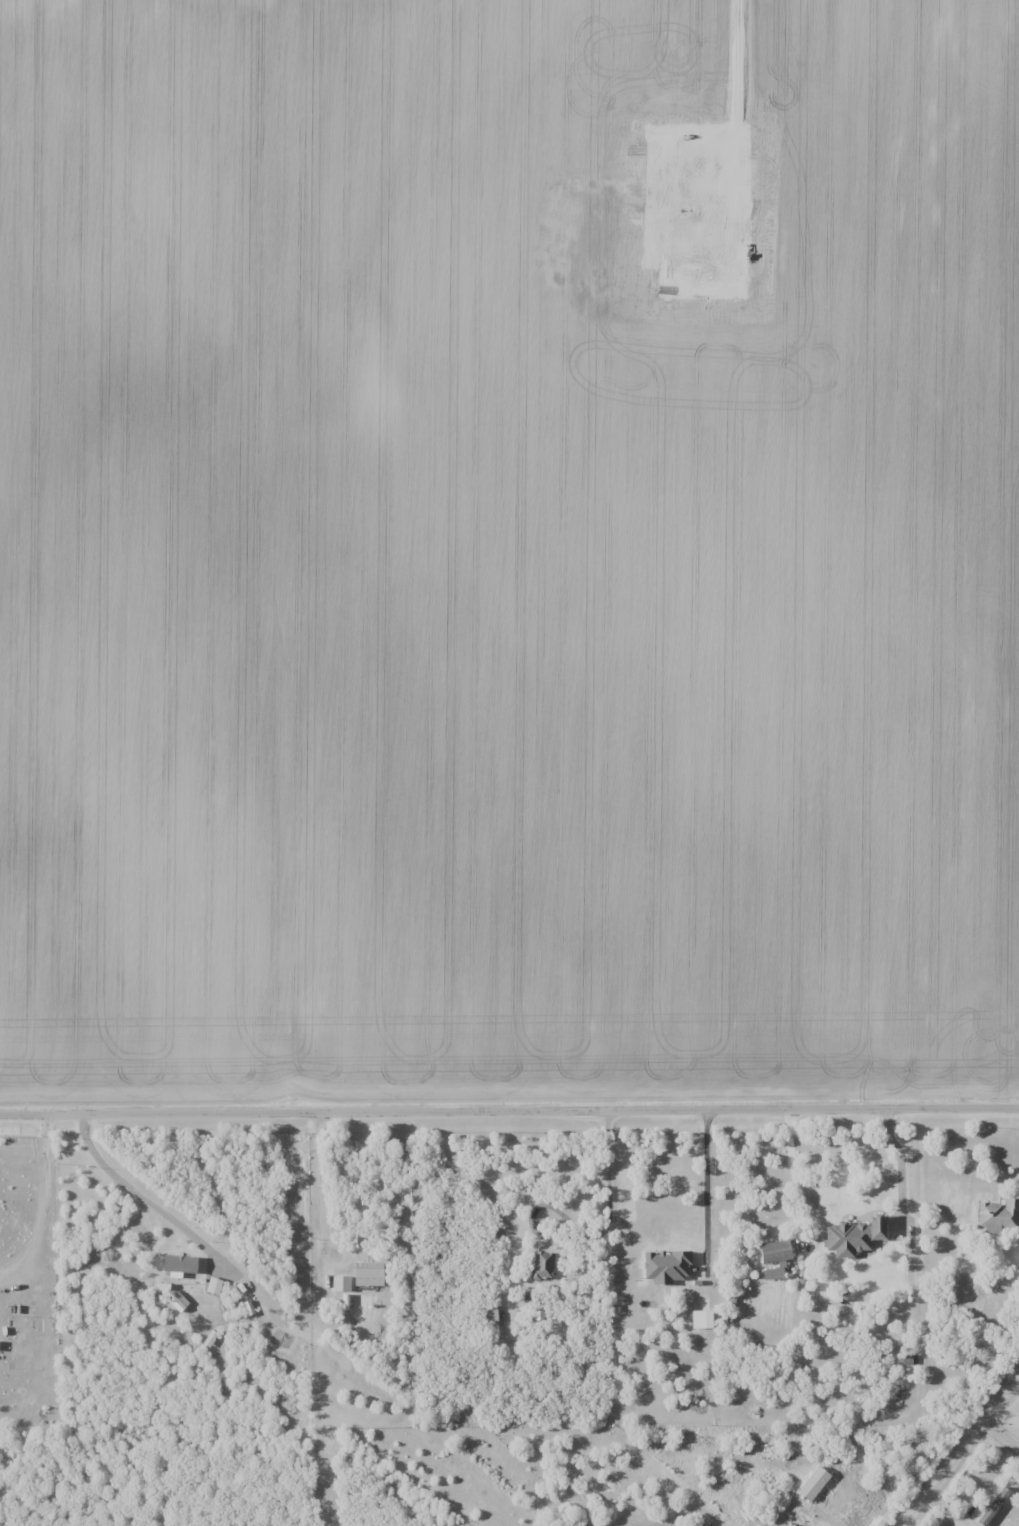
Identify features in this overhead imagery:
road: (509, 1109)
road: (899, 1162)
road: (793, 1176)
road: (705, 1177)
road: (321, 1186)
building: (999, 1216)
road: (589, 1234)
building: (857, 1236)
building: (544, 1265)
building: (775, 1273)
building: (370, 1274)
building: (488, 1313)
road: (1003, 1437)
road: (965, 1453)
building: (815, 1483)

